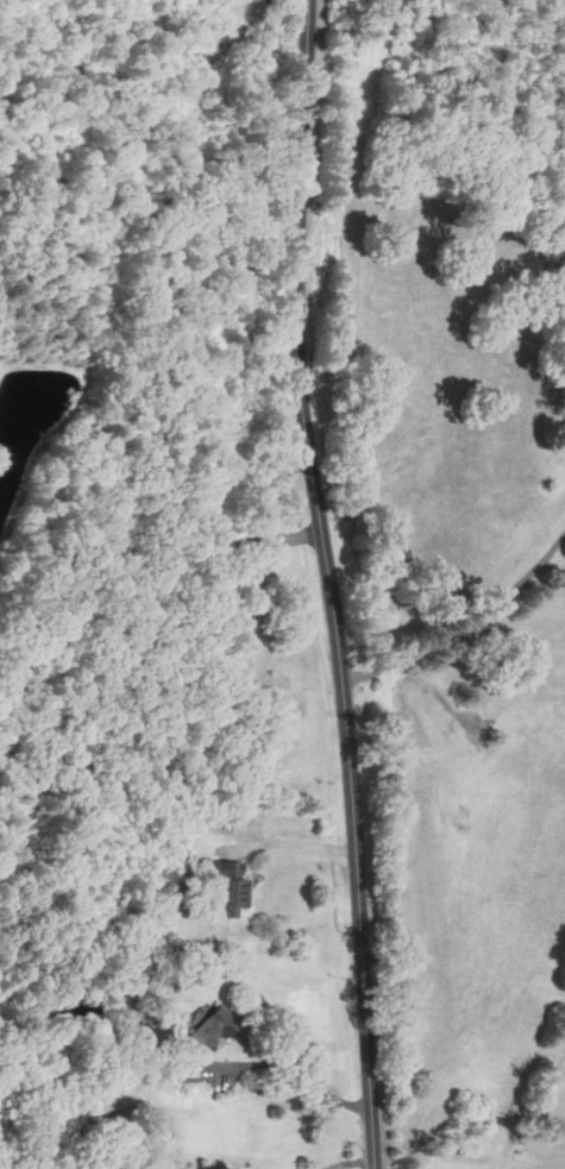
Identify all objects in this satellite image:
road: (327, 584)
road: (138, 591)
road: (460, 628)
road: (294, 847)
building: (227, 885)
building: (209, 1032)
road: (297, 1069)
road: (345, 1161)

